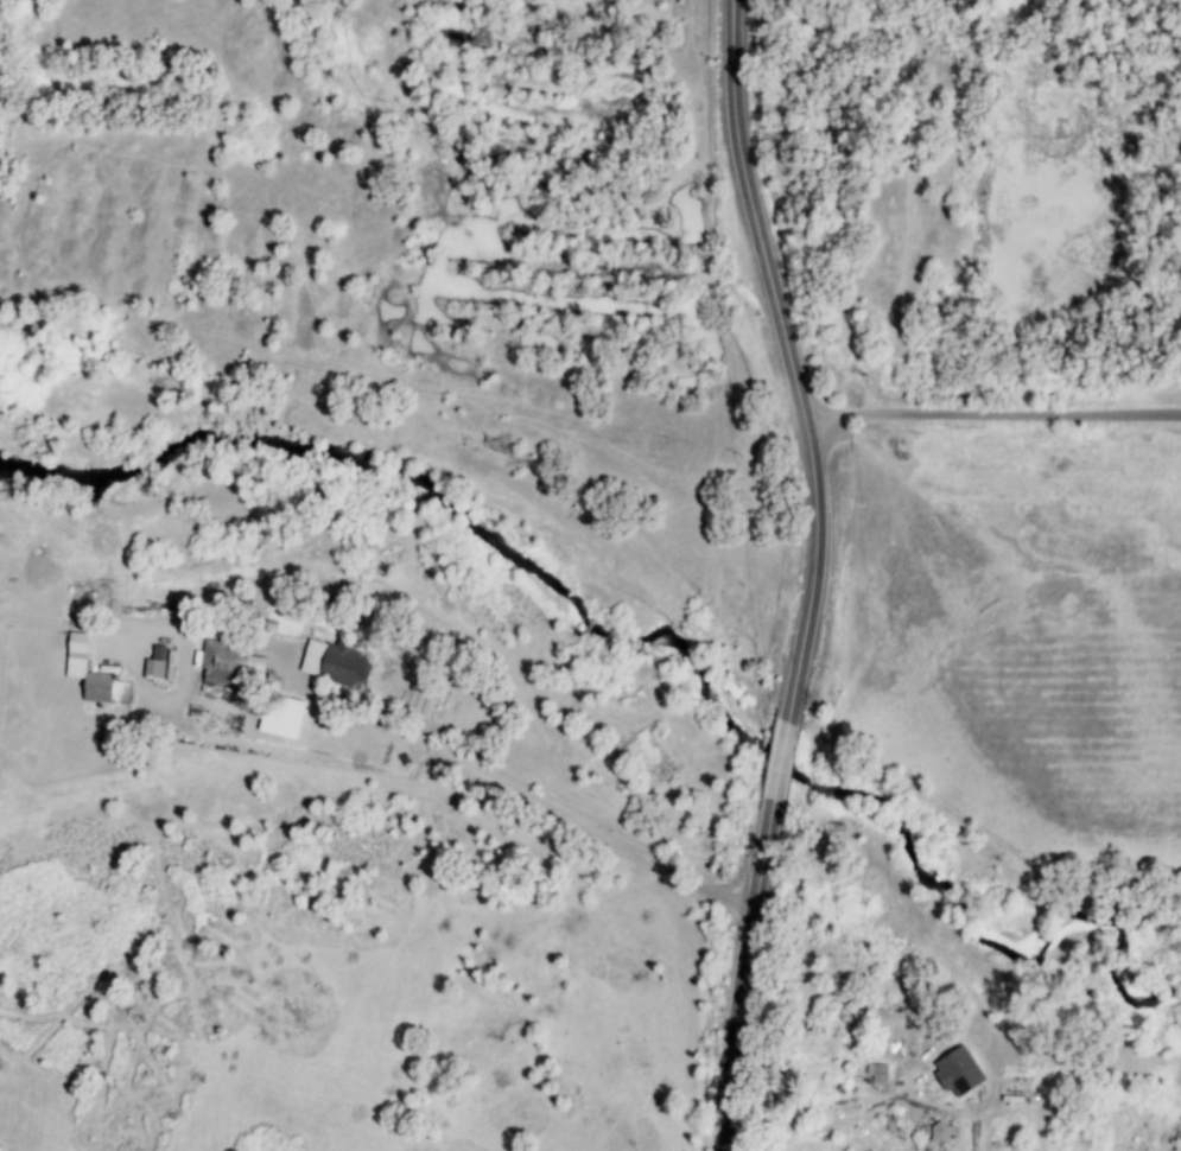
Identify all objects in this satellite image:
road: (792, 358)
road: (992, 414)
building: (75, 655)
building: (227, 662)
building: (154, 663)
building: (334, 663)
building: (96, 687)
building: (287, 707)
road: (783, 764)
road: (558, 813)
road: (744, 978)
building: (957, 1071)
building: (878, 1075)
building: (941, 1133)

